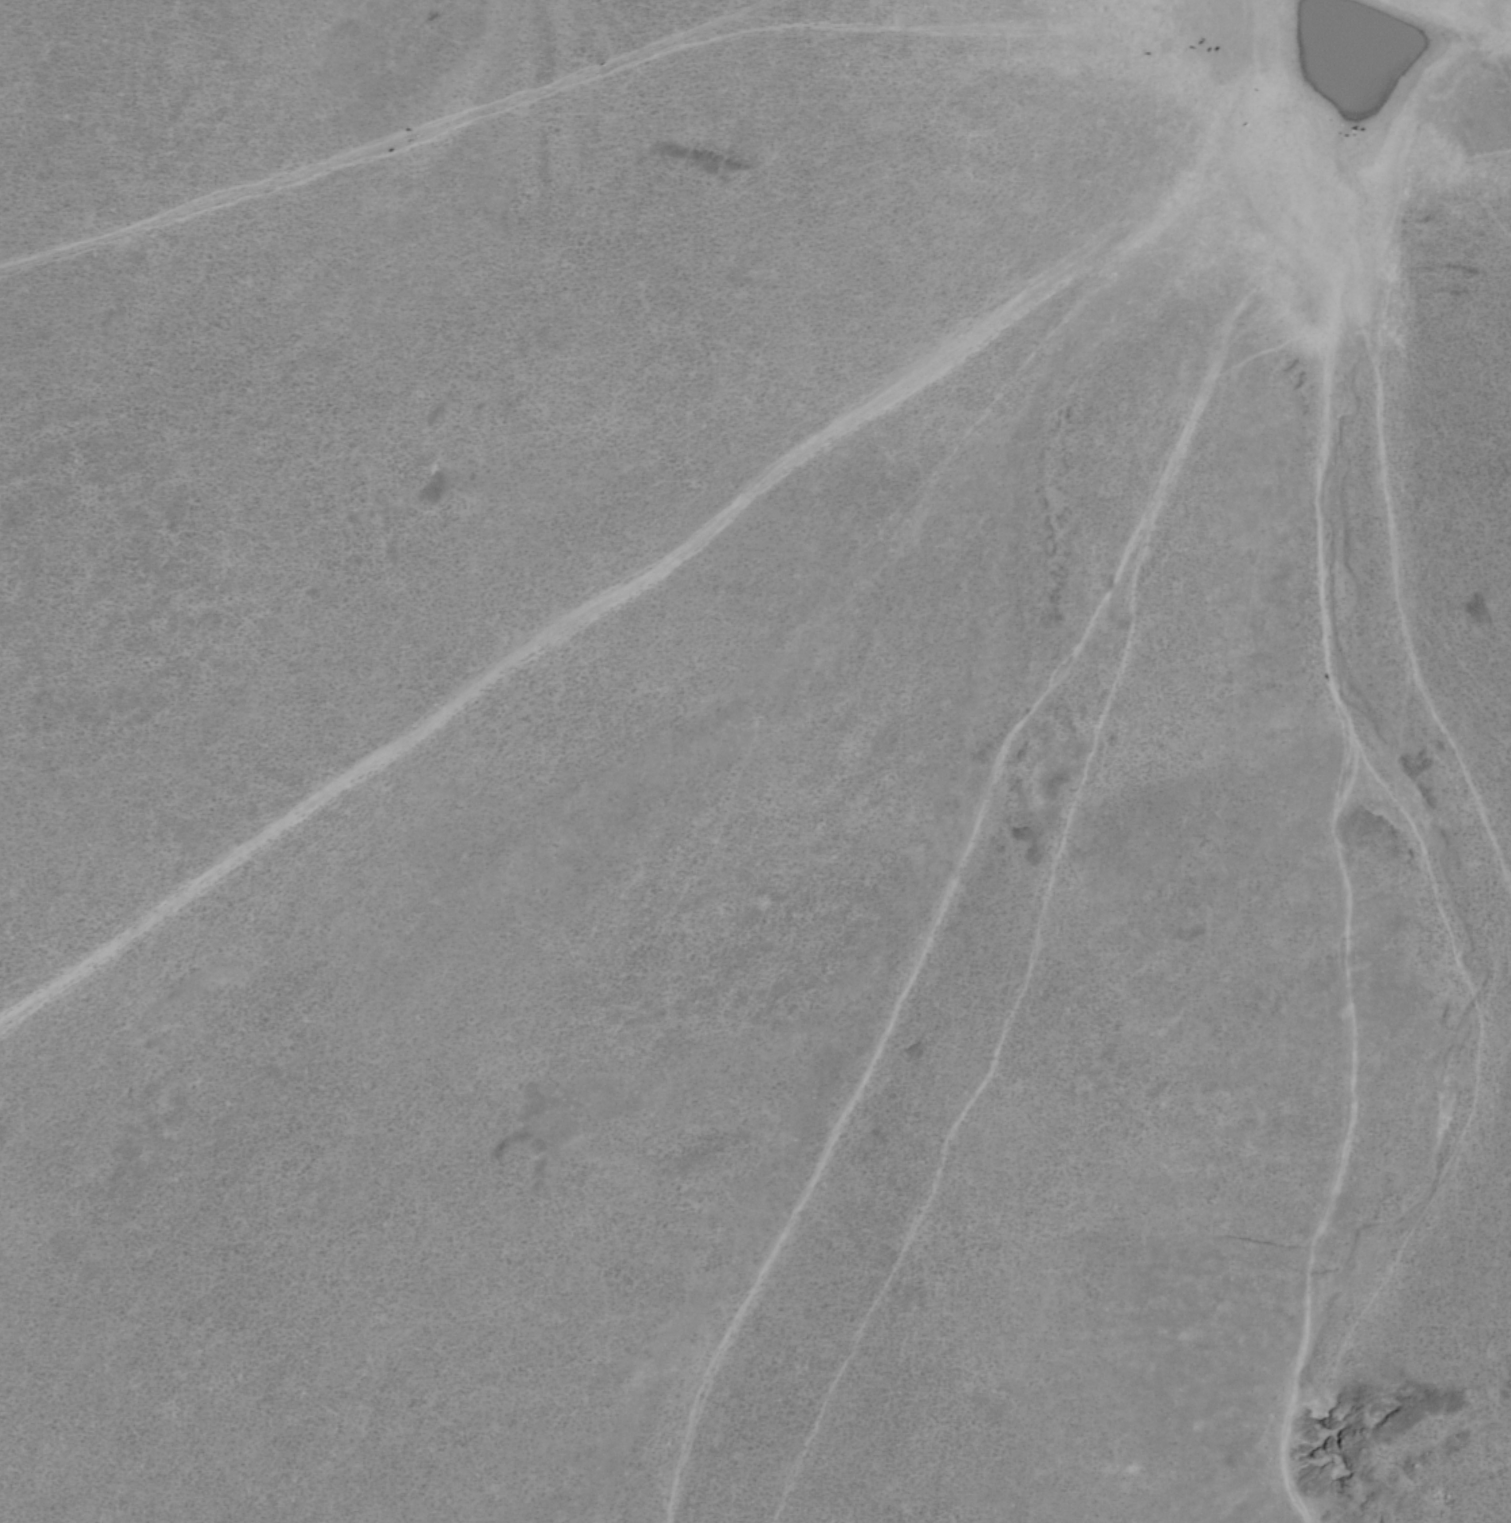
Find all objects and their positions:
dam: (1441, 21)
road: (392, 146)

